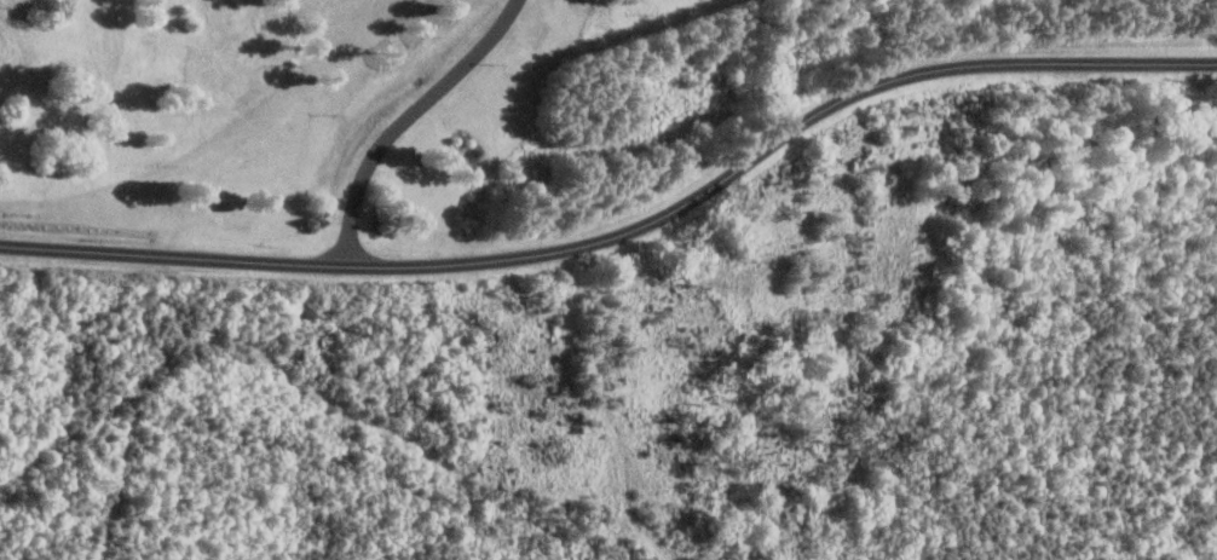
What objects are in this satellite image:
road: (404, 114)
road: (630, 236)
road: (8, 504)

